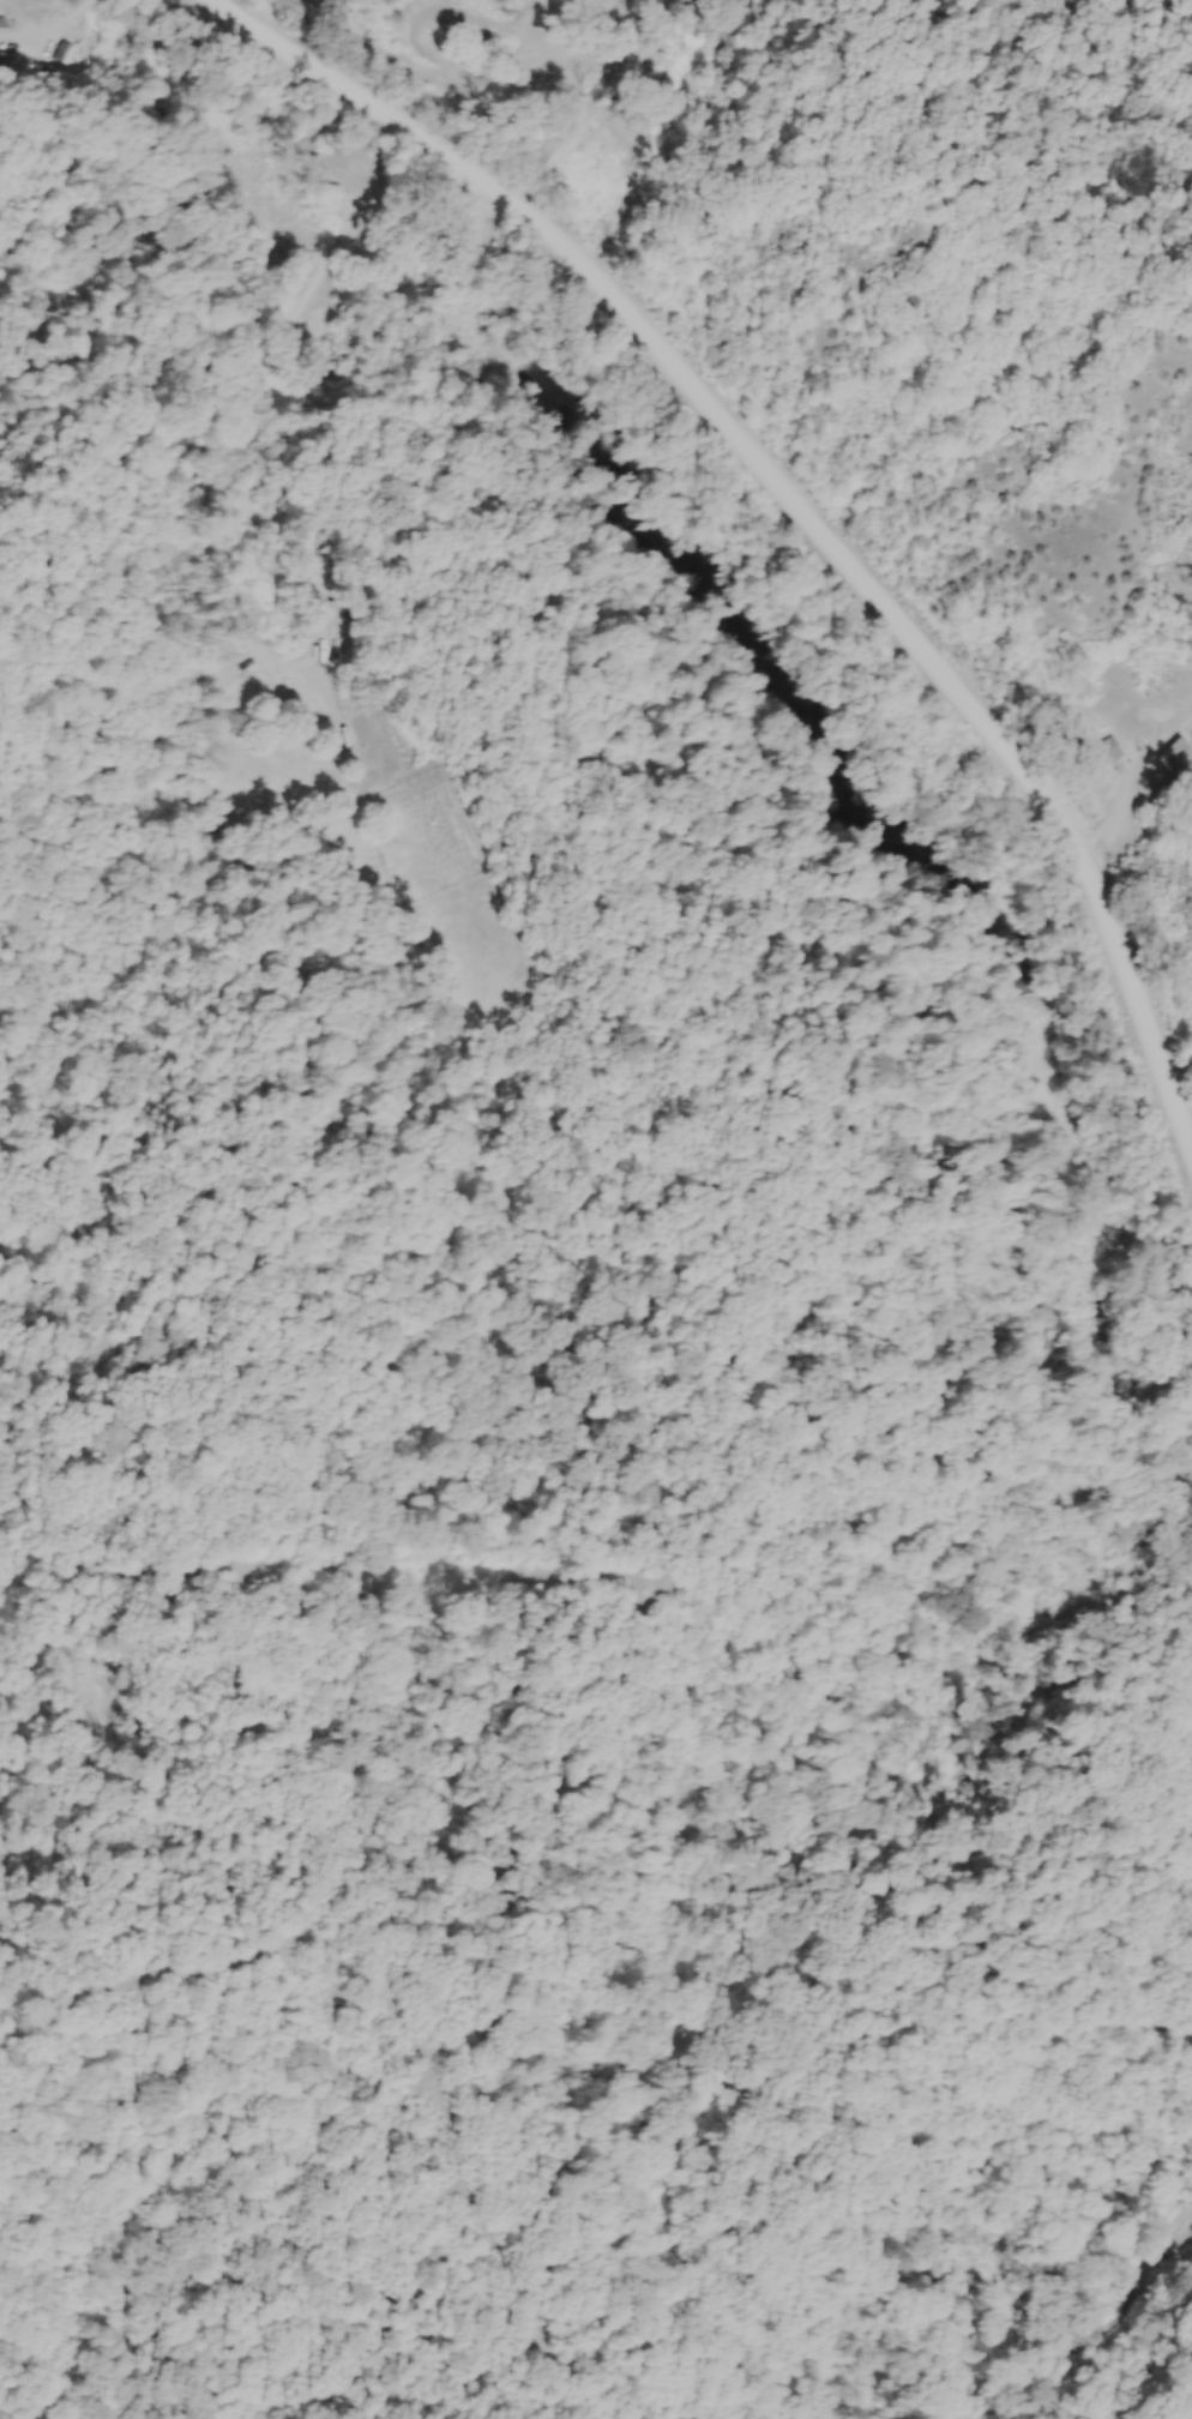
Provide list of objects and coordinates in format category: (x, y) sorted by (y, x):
road: (50, 25)
road: (275, 360)
road: (799, 500)

